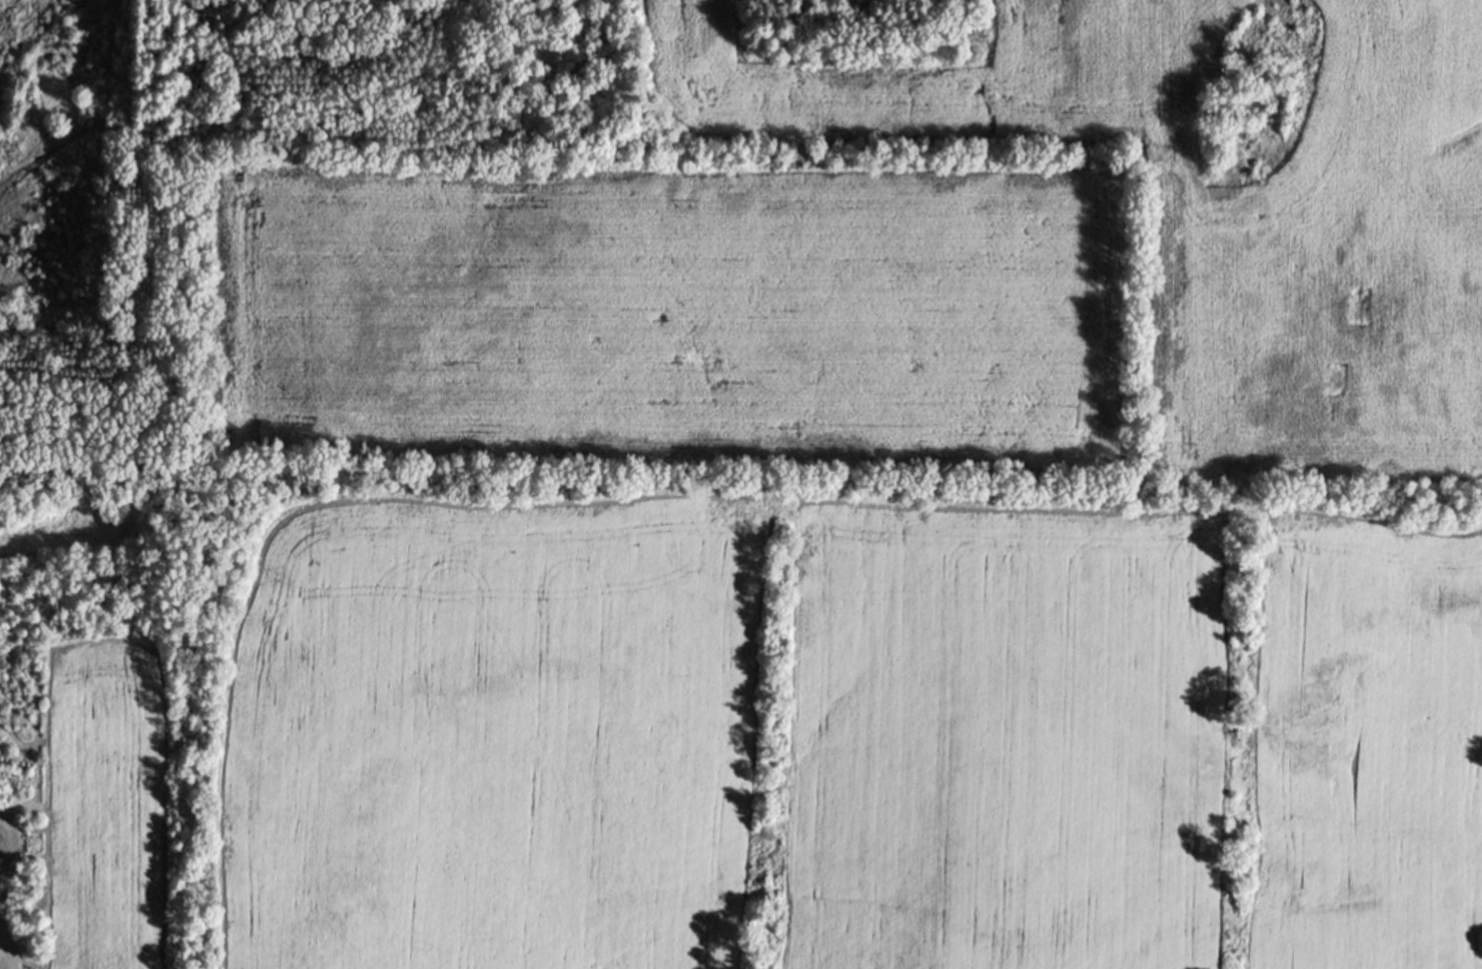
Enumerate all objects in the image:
road: (8, 953)

